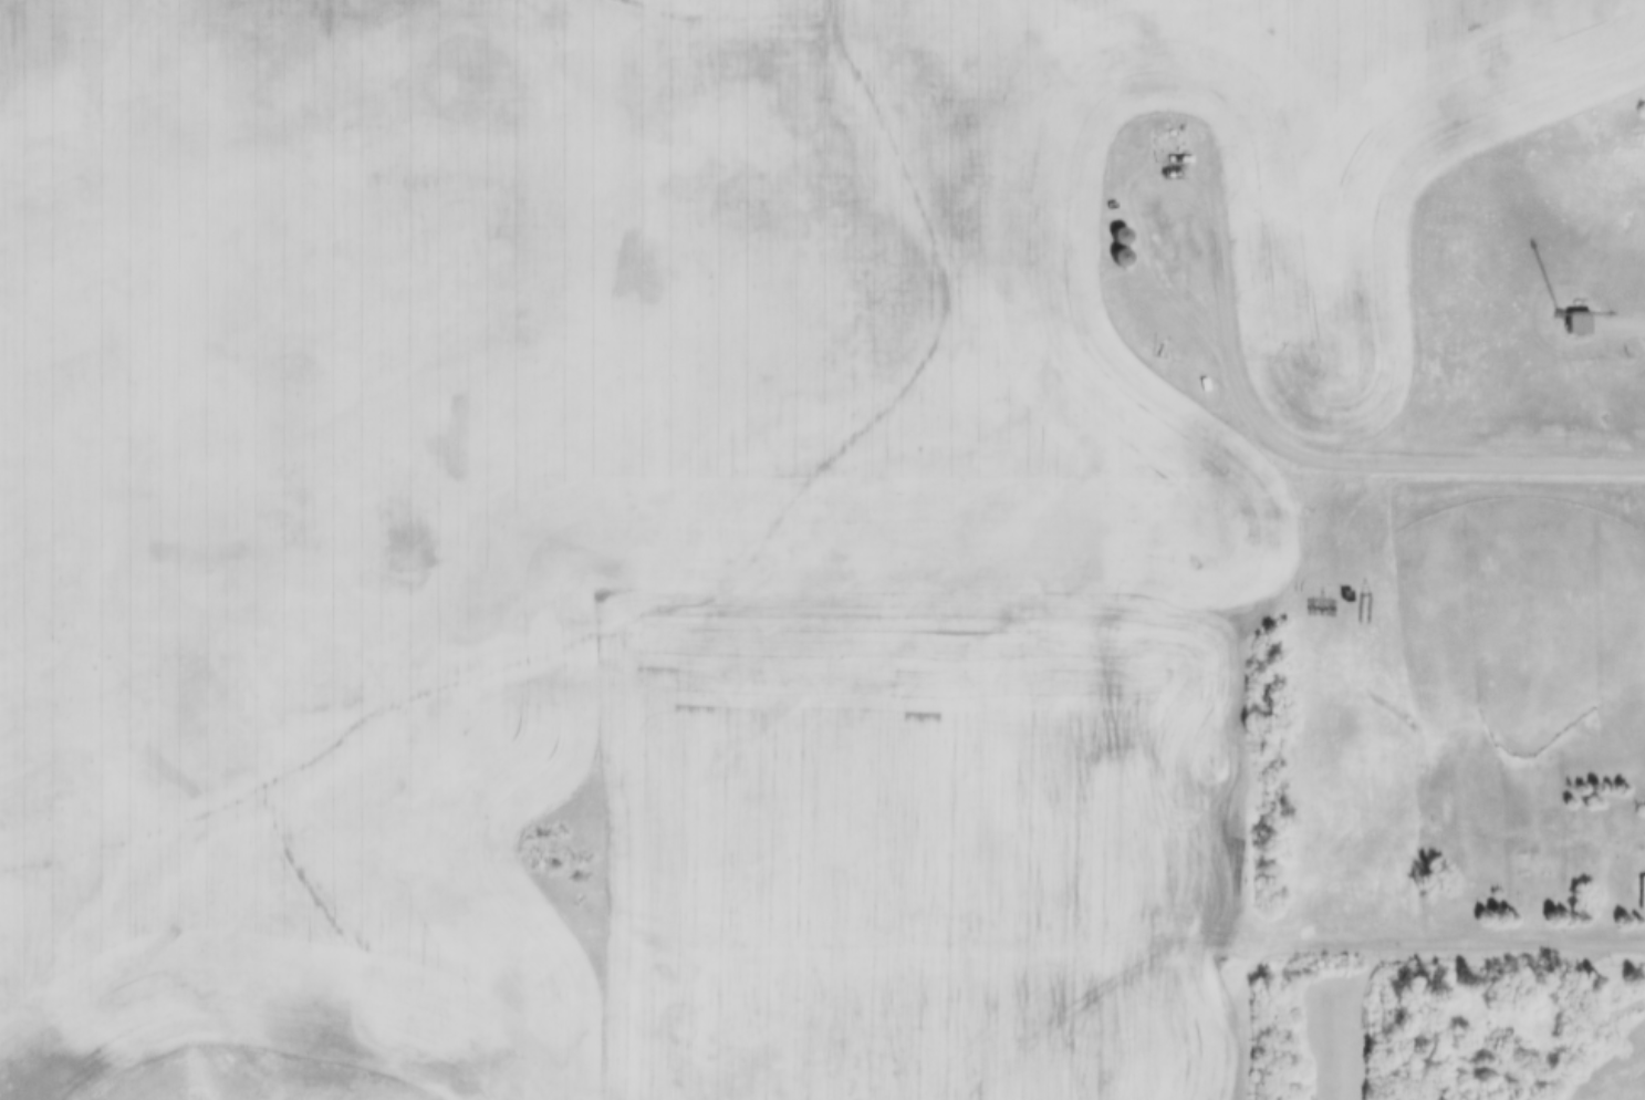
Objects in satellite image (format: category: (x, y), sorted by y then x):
building: (1169, 135)
building: (1121, 239)
building: (1122, 260)
building: (1571, 313)
road: (1620, 323)
building: (1579, 324)
road: (1323, 458)
building: (1643, 896)
road: (1453, 943)
road: (1562, 1035)

